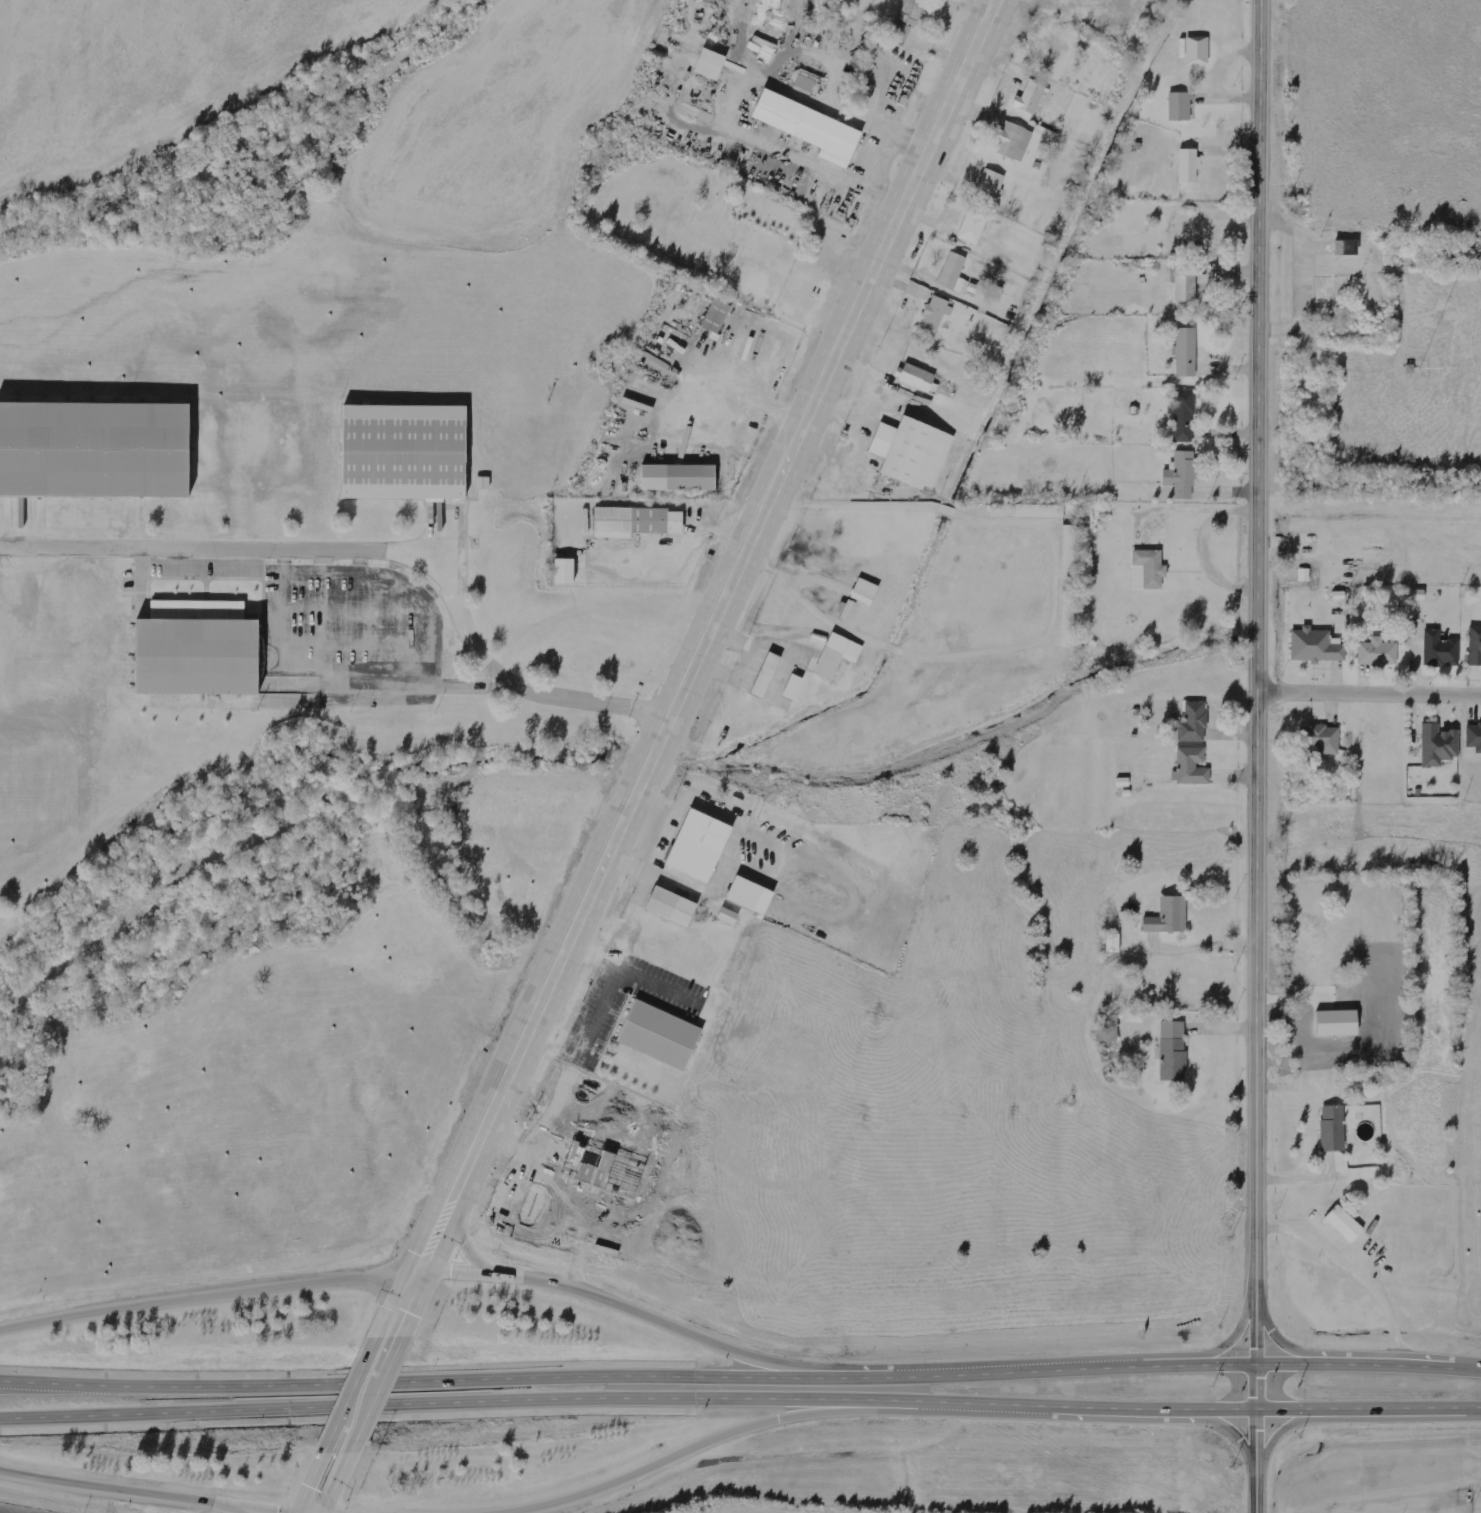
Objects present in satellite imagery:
building: (907, 19)
building: (1197, 49)
building: (709, 63)
building: (808, 82)
building: (1032, 97)
building: (1177, 106)
building: (809, 127)
building: (1014, 141)
building: (1188, 165)
building: (991, 185)
building: (970, 228)
building: (1346, 247)
building: (951, 274)
building: (1184, 284)
building: (715, 315)
building: (931, 315)
building: (1184, 352)
building: (918, 378)
building: (1184, 416)
building: (95, 448)
building: (912, 452)
building: (404, 454)
building: (1181, 474)
building: (678, 477)
building: (483, 482)
road: (1168, 509)
building: (1027, 511)
building: (636, 521)
building: (1069, 531)
road: (1202, 544)
road: (366, 551)
building: (1148, 569)
building: (563, 571)
building: (865, 591)
building: (1418, 594)
building: (847, 608)
road: (704, 635)
building: (1315, 646)
building: (1475, 646)
building: (195, 649)
building: (1440, 649)
building: (1378, 653)
building: (836, 655)
building: (765, 675)
road: (1371, 689)
building: (1194, 723)
building: (1473, 736)
building: (1321, 738)
building: (1438, 745)
road: (1261, 756)
building: (1191, 766)
building: (698, 846)
building: (750, 895)
building: (671, 907)
building: (728, 916)
building: (1168, 916)
building: (1113, 943)
building: (1110, 1028)
building: (656, 1034)
building: (1173, 1051)
building: (1333, 1128)
building: (586, 1165)
building: (1344, 1224)
road: (462, 1243)
traffic signals: (414, 1268)
road: (420, 1268)
road: (397, 1303)
road: (1285, 1344)
road: (1230, 1345)
traffic signals: (1254, 1364)
road: (1221, 1365)
road: (1367, 1365)
road: (1008, 1373)
road: (413, 1382)
road: (356, 1396)
road: (449, 1403)
road: (1049, 1405)
road: (1367, 1410)
road: (1227, 1411)
traffic signals: (1255, 1412)
road: (1236, 1430)
road: (1276, 1434)
road: (683, 1448)
road: (317, 1483)
road: (142, 1495)
road: (219, 1508)

